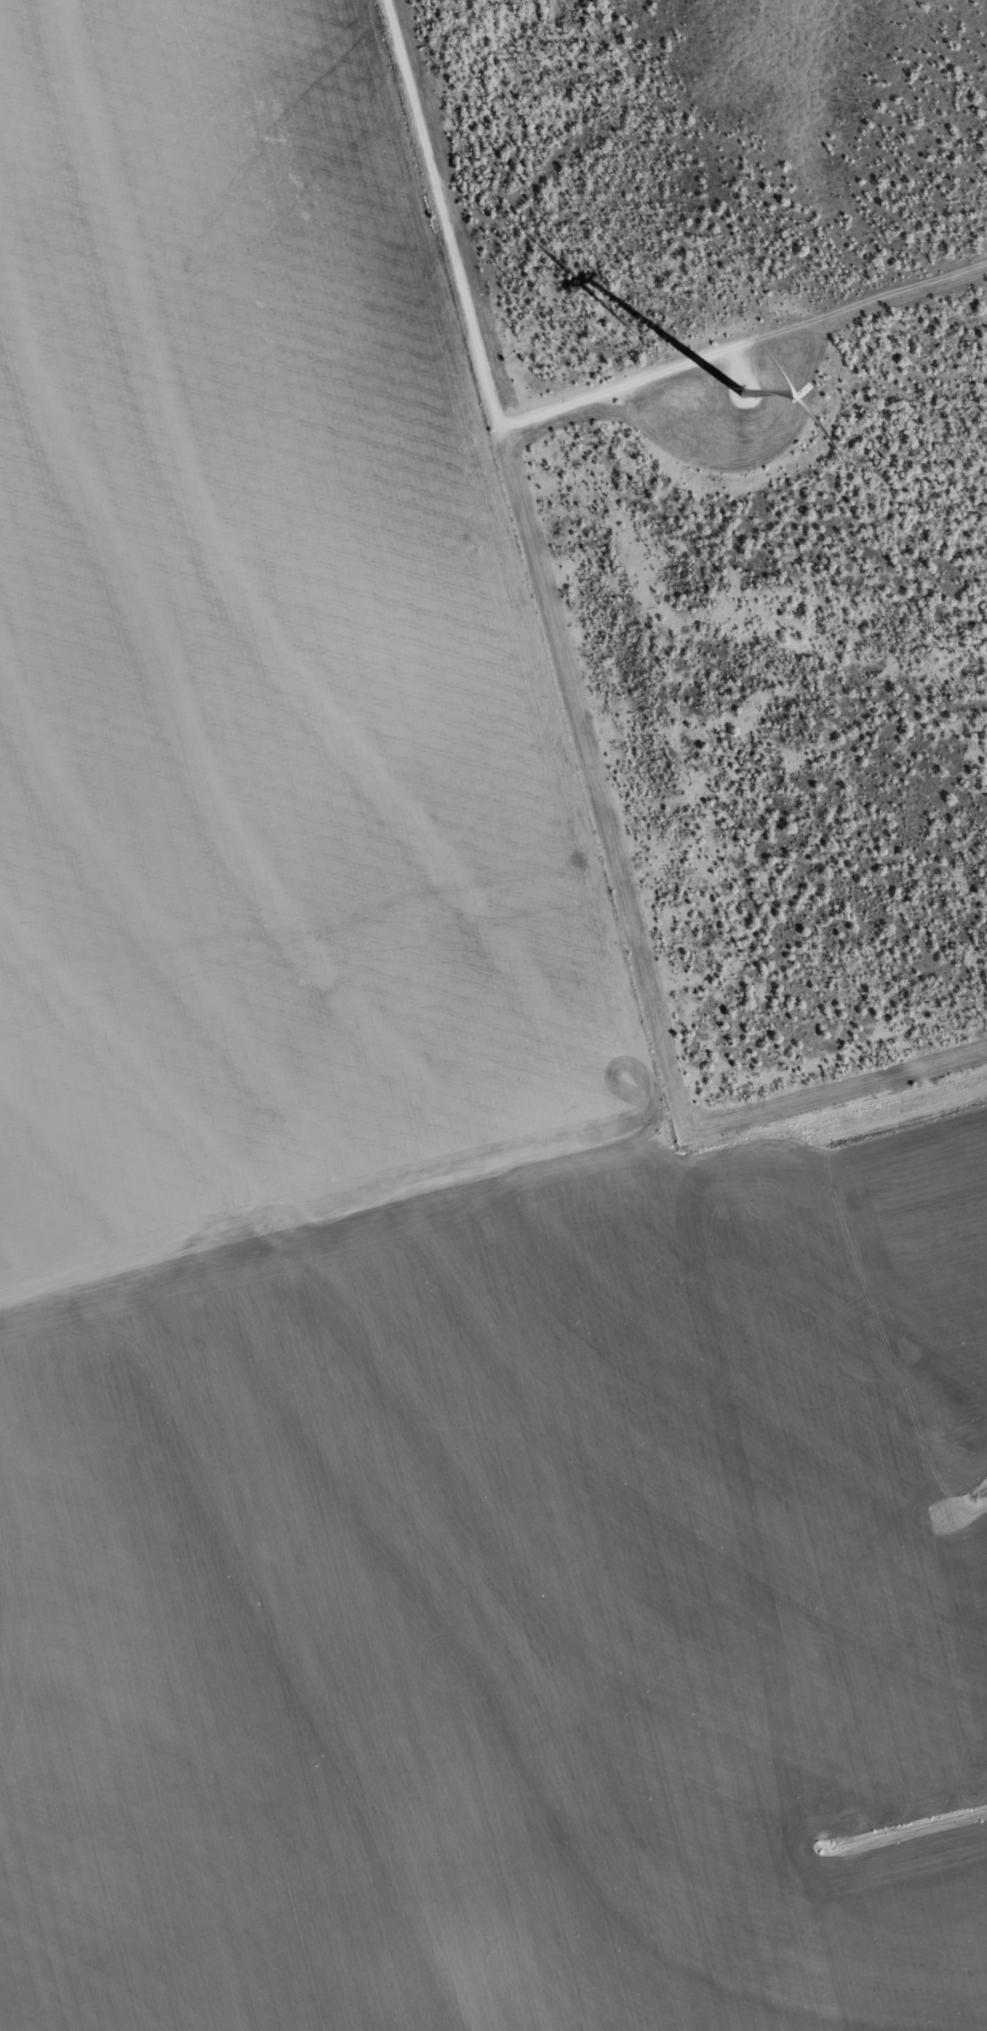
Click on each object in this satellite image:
wind turbine: (744, 390)

